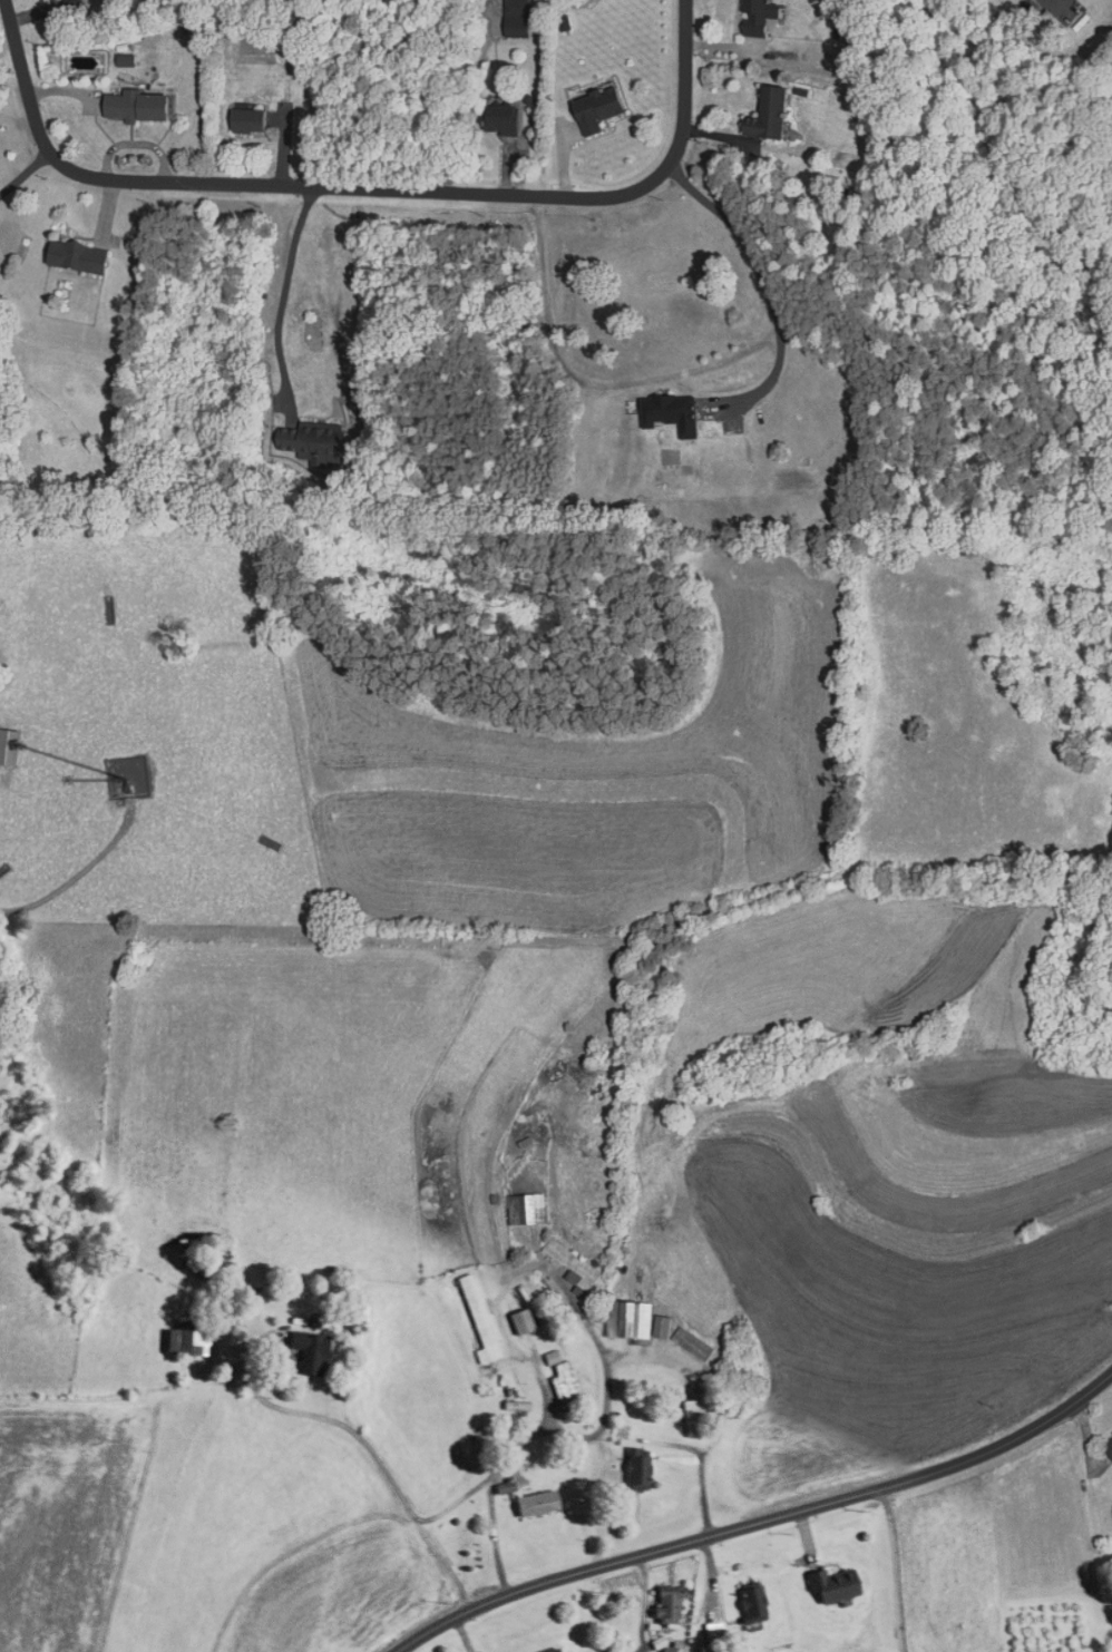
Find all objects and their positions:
building: (1022, 0)
building: (752, 18)
building: (511, 19)
building: (174, 38)
building: (129, 107)
building: (591, 109)
building: (761, 115)
building: (497, 120)
building: (244, 121)
road: (26, 174)
road: (364, 188)
building: (70, 257)
road: (764, 280)
road: (283, 293)
building: (666, 413)
building: (309, 441)
building: (524, 1209)
building: (208, 1267)
building: (570, 1267)
building: (477, 1318)
building: (627, 1320)
building: (518, 1321)
building: (183, 1338)
building: (690, 1345)
building: (306, 1351)
road: (608, 1372)
building: (563, 1382)
building: (690, 1417)
building: (1106, 1446)
road: (378, 1463)
building: (634, 1468)
building: (531, 1503)
road: (758, 1521)
road: (495, 1536)
road: (894, 1568)
building: (832, 1584)
building: (663, 1602)
building: (747, 1602)
building: (710, 1638)
building: (665, 1649)
building: (549, 1651)

